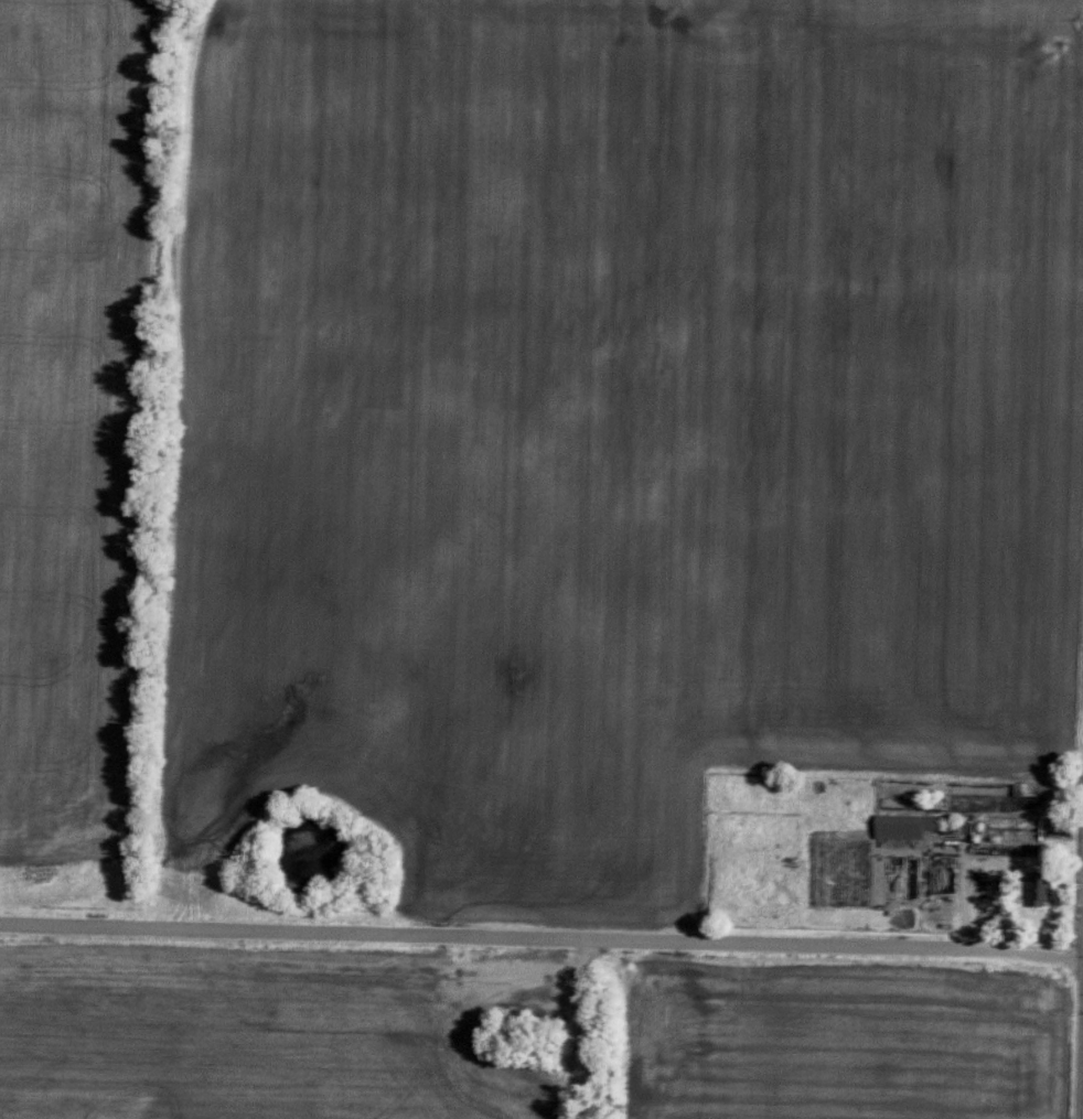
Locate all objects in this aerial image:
building: (898, 824)
building: (1040, 884)
road: (955, 895)
road: (540, 953)

